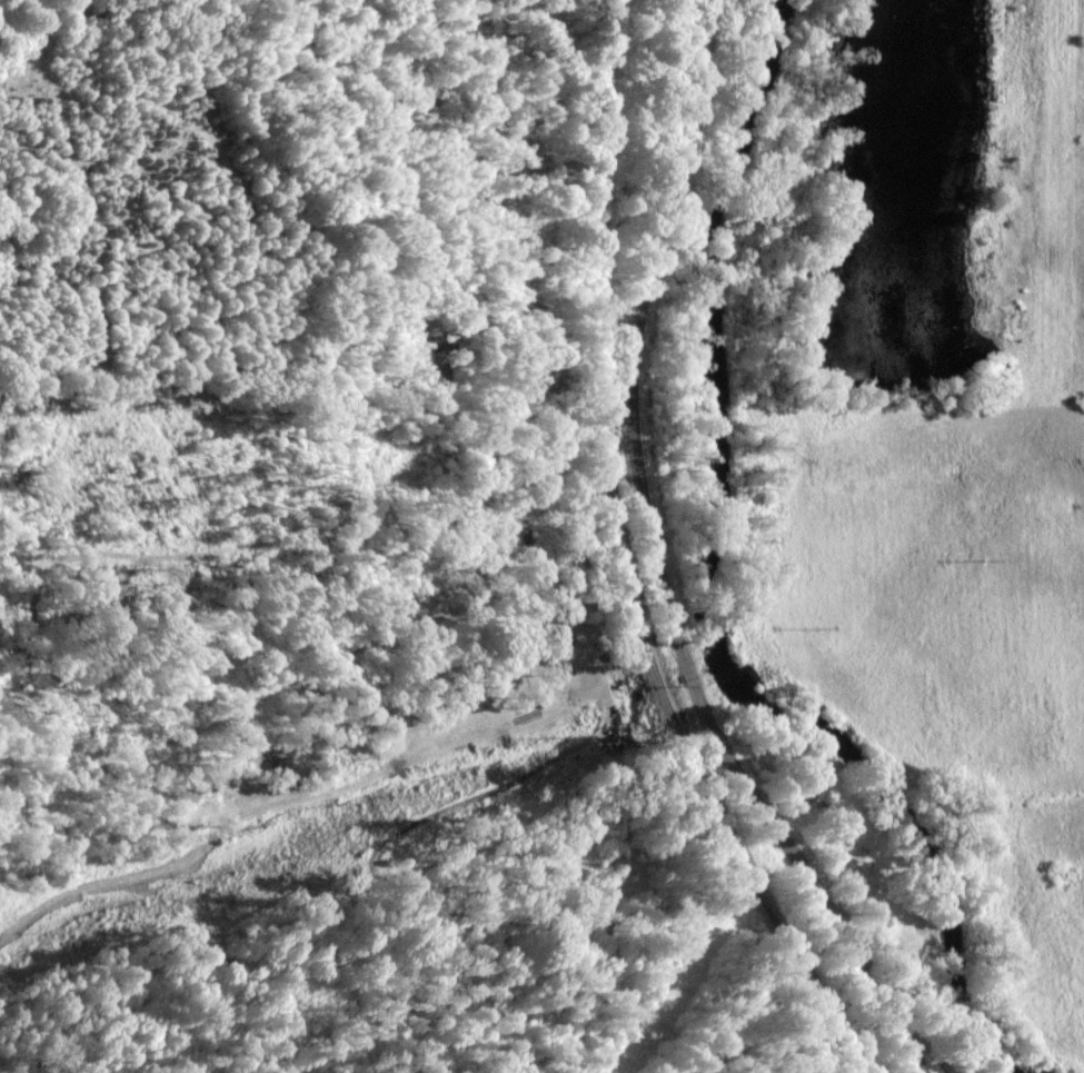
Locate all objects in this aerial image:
railway: (614, 565)
road: (657, 565)

